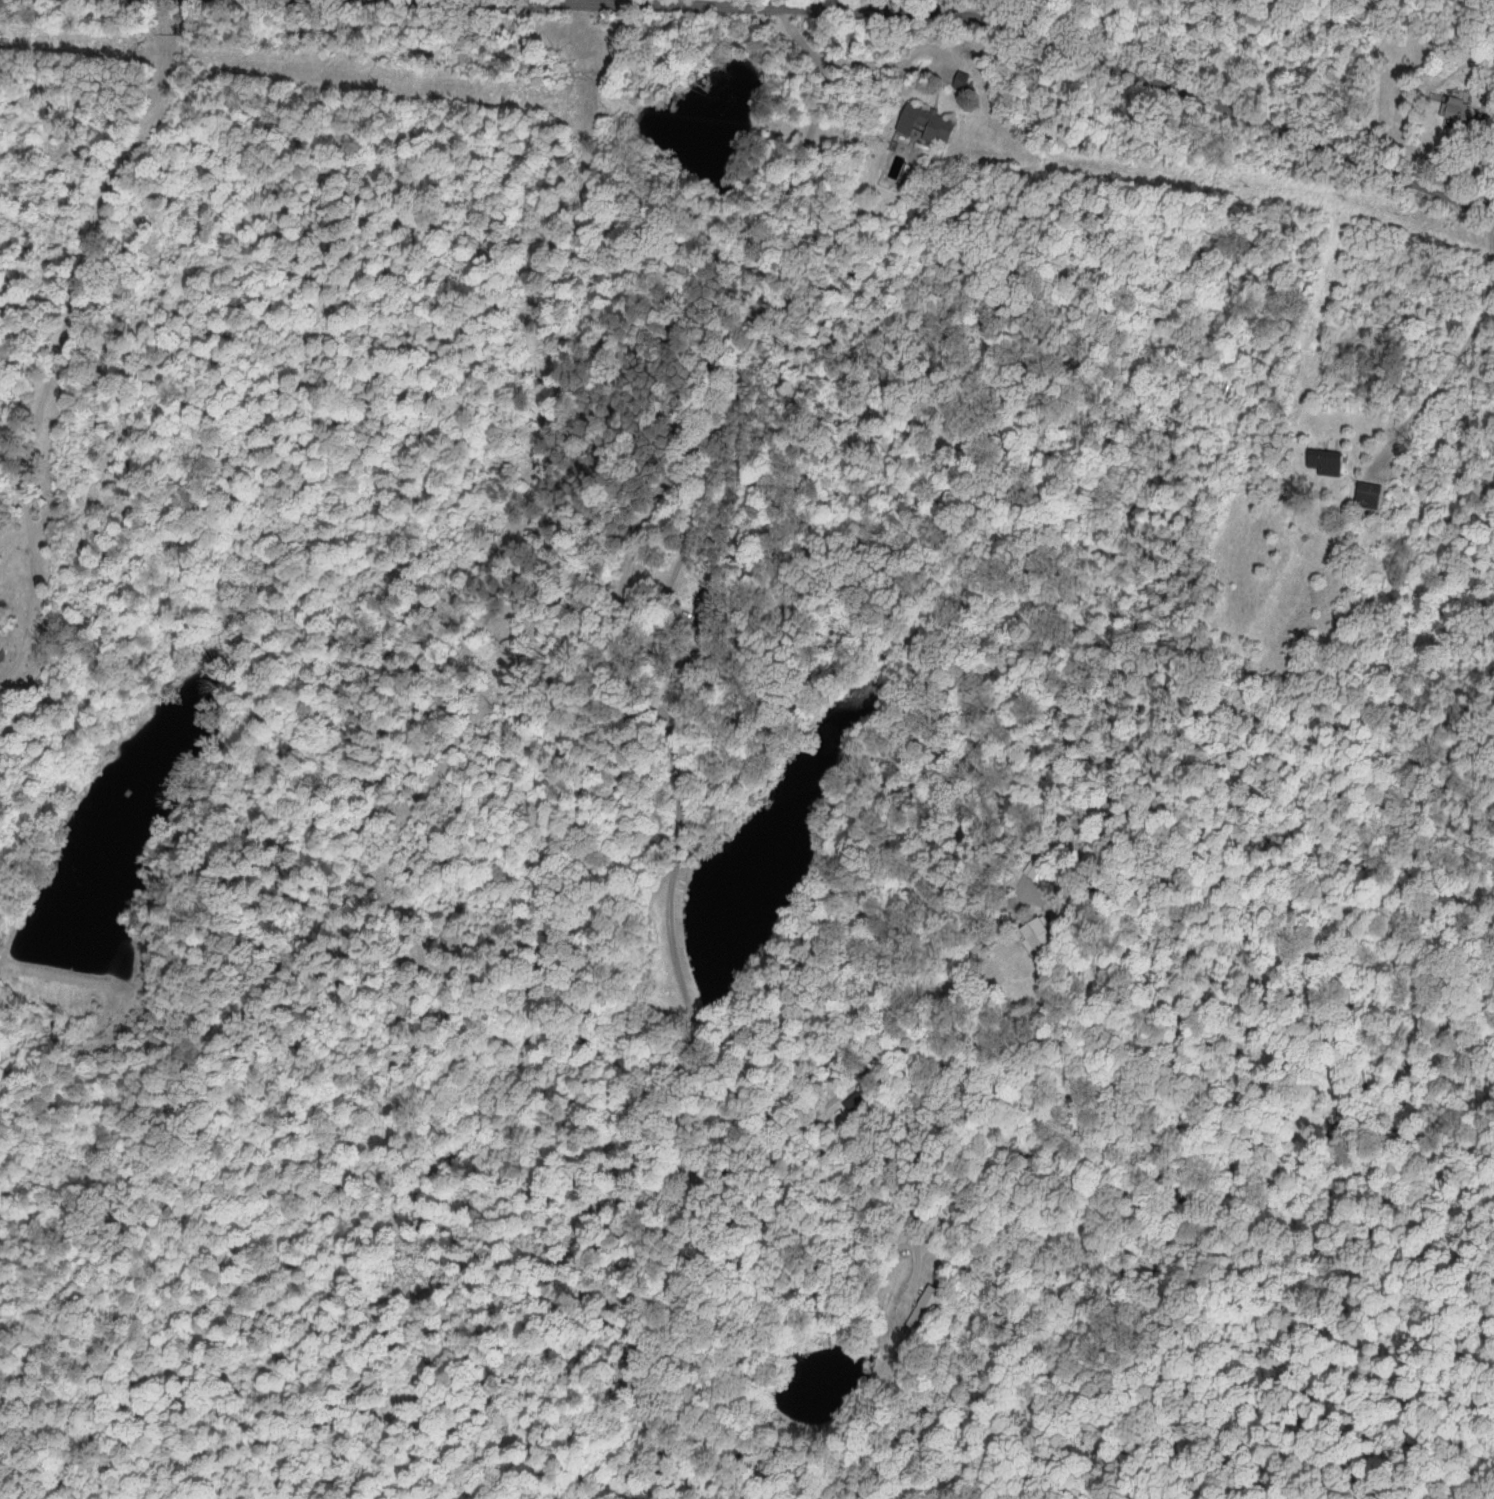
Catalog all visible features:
road: (984, 9)
road: (1040, 36)
road: (875, 62)
building: (1456, 109)
road: (1493, 209)
road: (764, 300)
road: (83, 302)
road: (1464, 342)
building: (1325, 461)
building: (1366, 493)
road: (684, 548)
building: (1035, 936)
road: (690, 1085)
road: (902, 1171)

